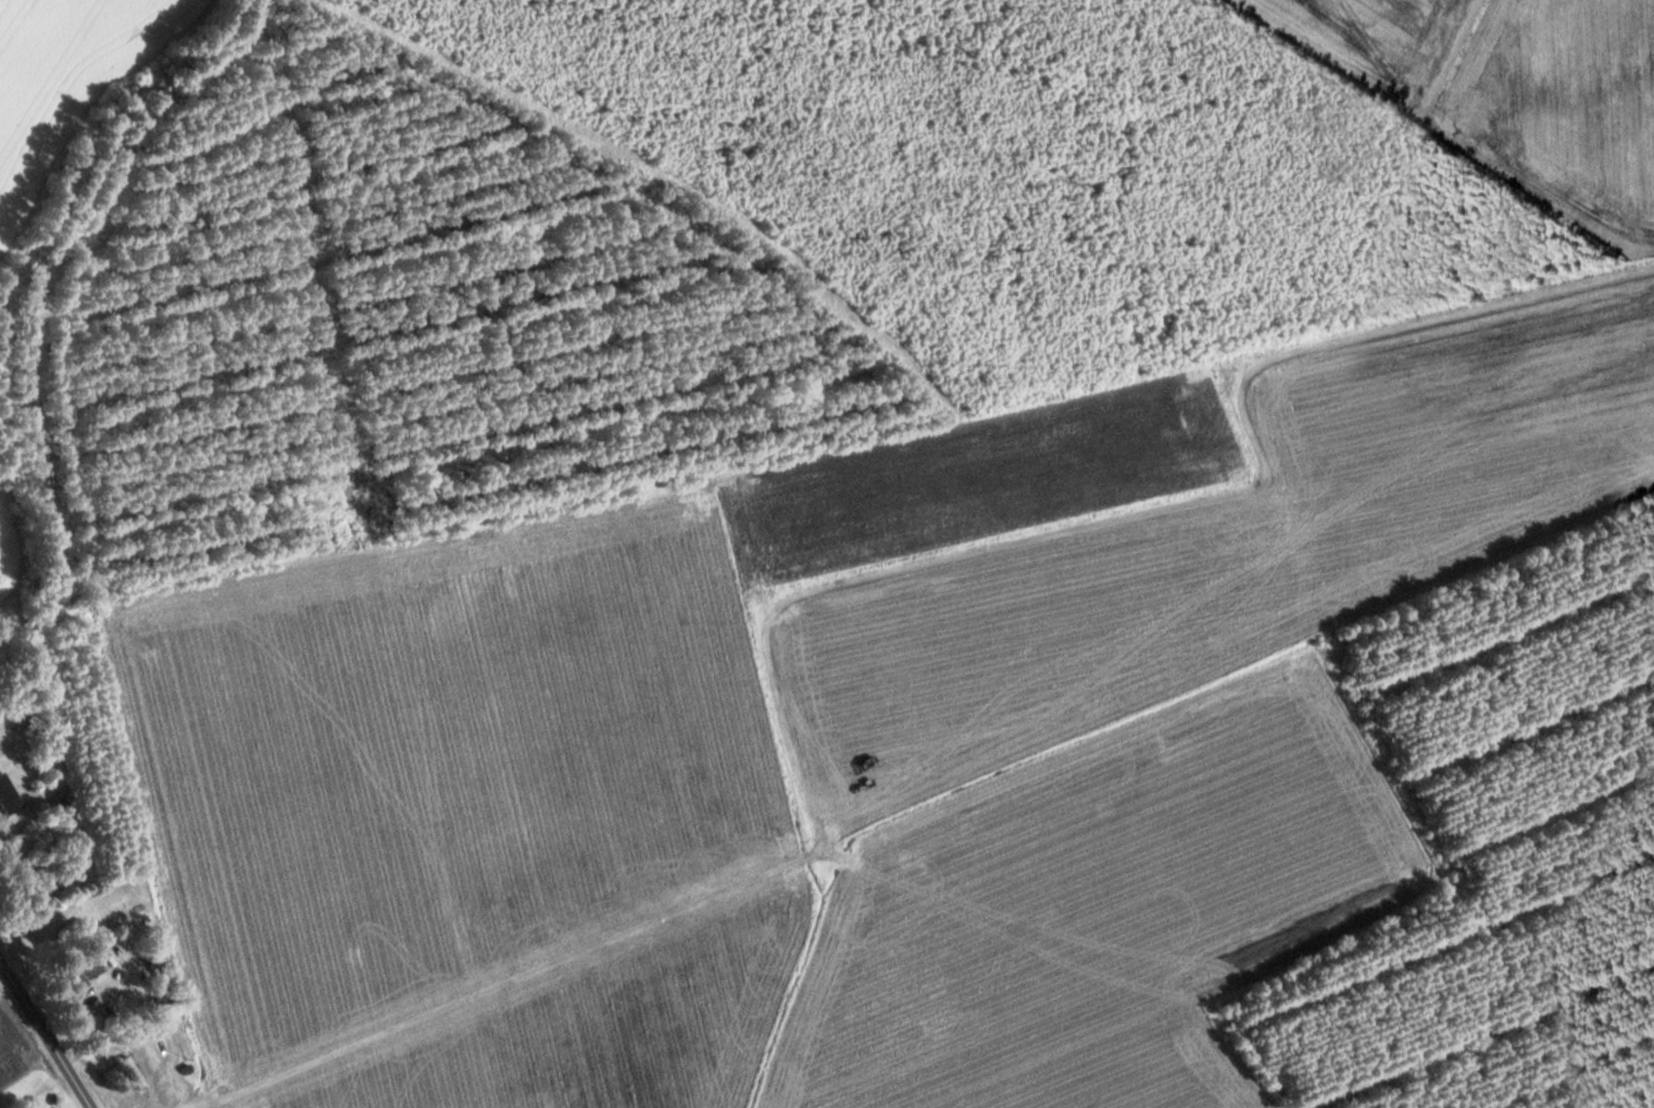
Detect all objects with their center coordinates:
building: (17, 786)
building: (49, 880)
building: (158, 960)
building: (79, 981)
road: (46, 1035)
building: (135, 1072)

